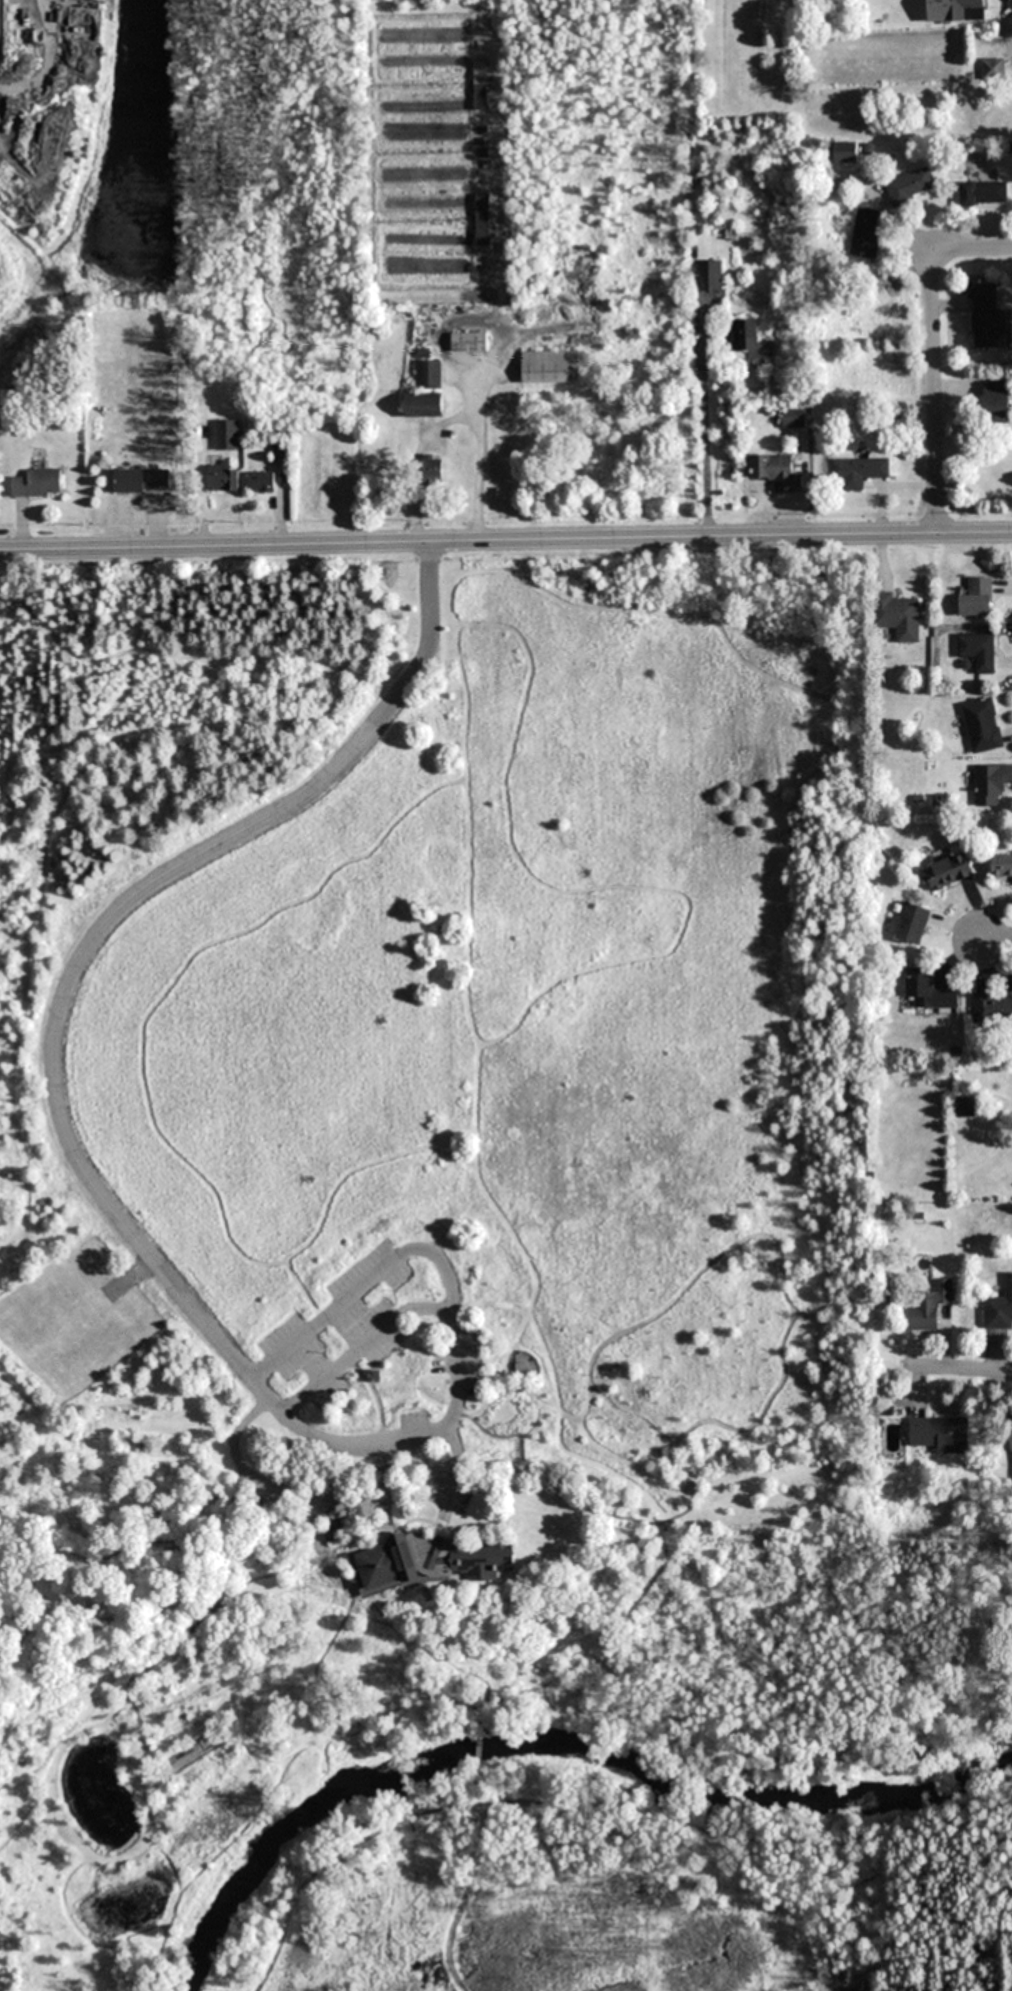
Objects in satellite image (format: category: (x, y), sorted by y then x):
building: (956, 10)
building: (993, 69)
building: (483, 86)
building: (845, 153)
building: (910, 186)
building: (983, 193)
building: (484, 219)
building: (864, 236)
road: (1011, 247)
building: (710, 275)
building: (985, 317)
building: (744, 335)
building: (469, 342)
road: (933, 359)
building: (551, 367)
building: (995, 401)
building: (423, 404)
building: (794, 419)
road: (702, 420)
building: (227, 434)
building: (432, 470)
building: (858, 472)
building: (775, 473)
building: (222, 476)
building: (142, 481)
building: (262, 482)
building: (38, 483)
road: (505, 540)
building: (976, 599)
building: (897, 617)
building: (977, 651)
building: (982, 725)
building: (991, 784)
building: (1002, 866)
building: (946, 872)
building: (913, 923)
road: (995, 937)
road: (82, 971)
building: (928, 991)
building: (993, 1009)
building: (965, 1107)
park: (441, 1282)
building: (929, 1306)
building: (1000, 1310)
road: (959, 1373)
building: (941, 1433)
building: (333, 1526)
building: (429, 1562)
river: (544, 1732)
park: (968, 1777)

